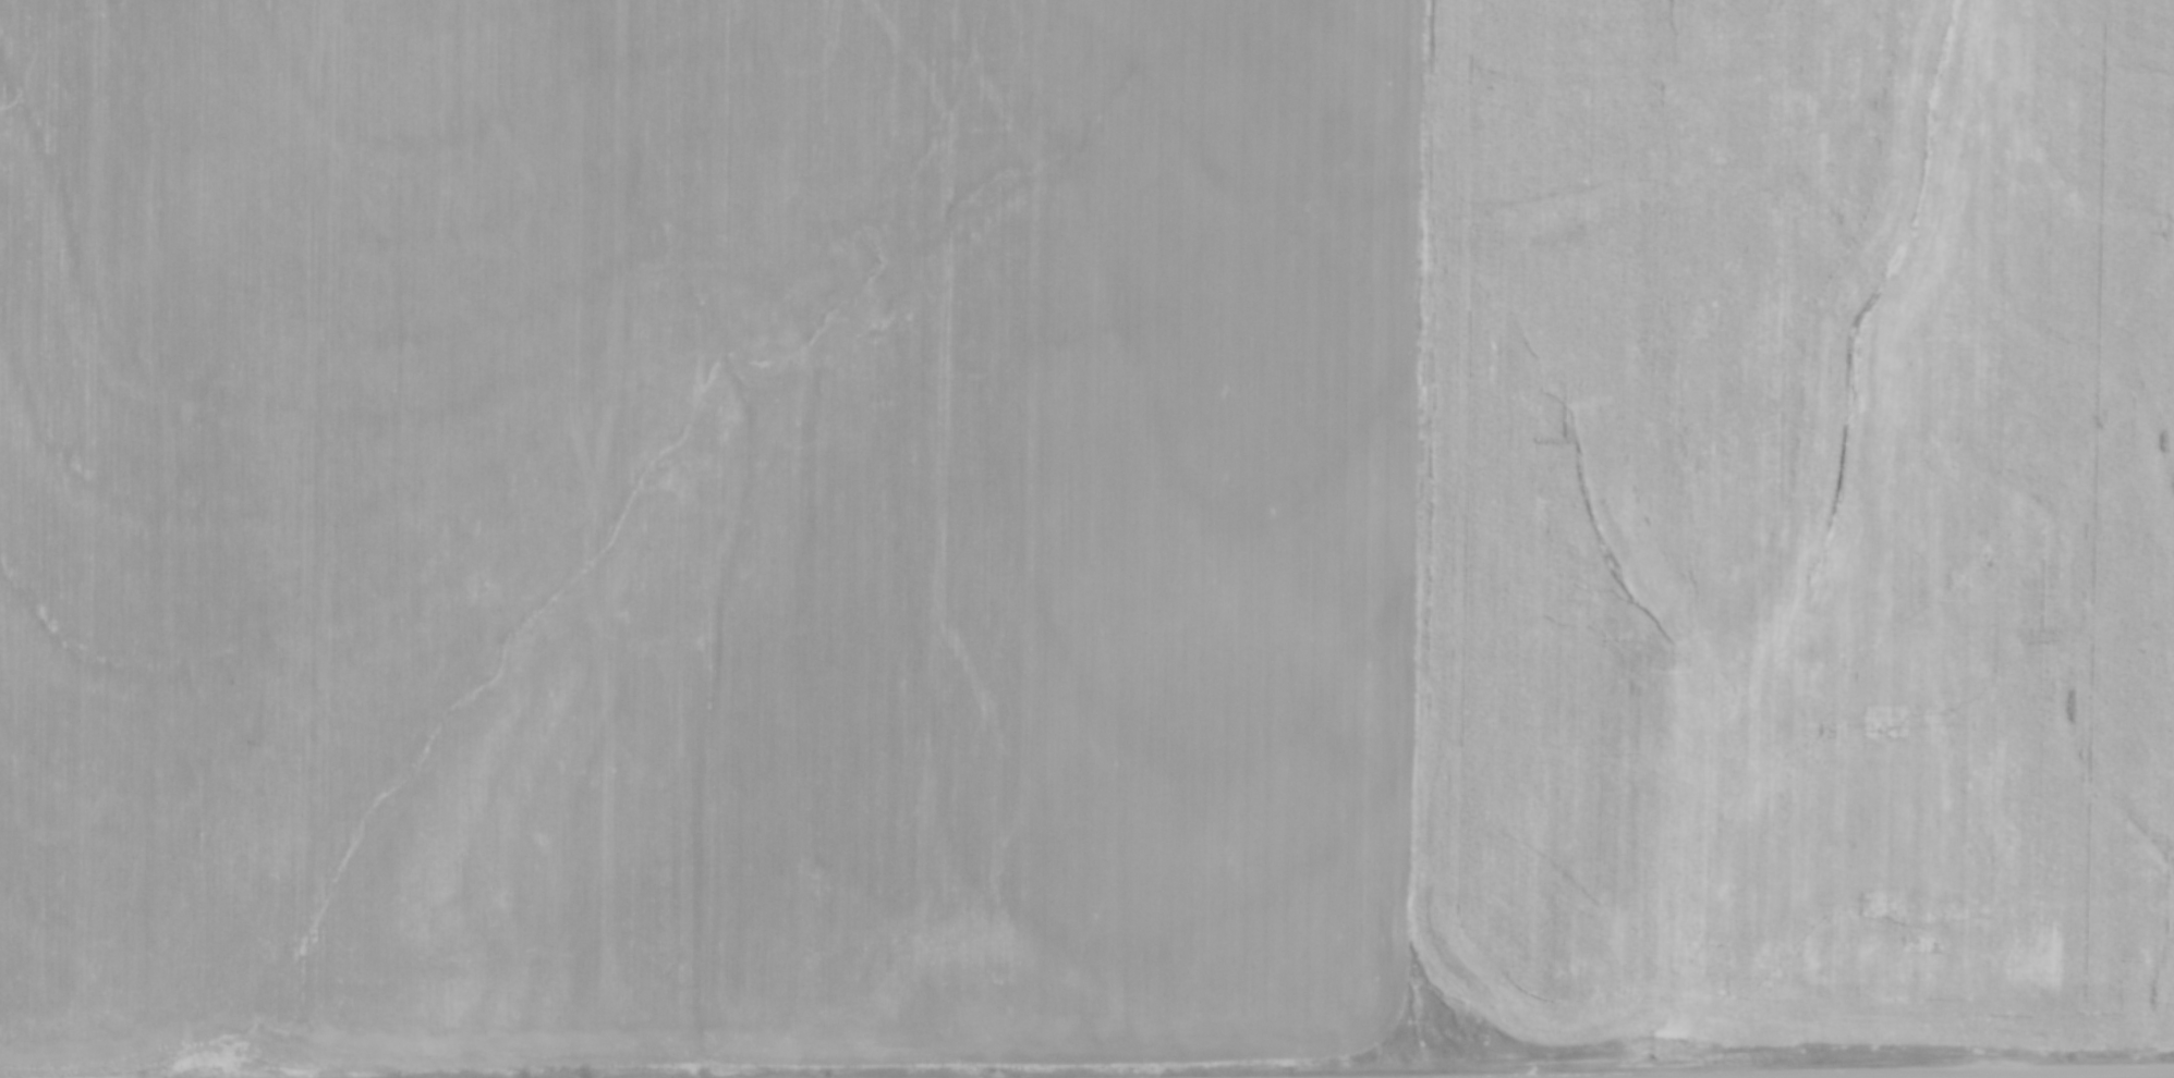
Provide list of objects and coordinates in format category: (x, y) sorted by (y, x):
crop: (701, 525)
road: (1859, 1073)

